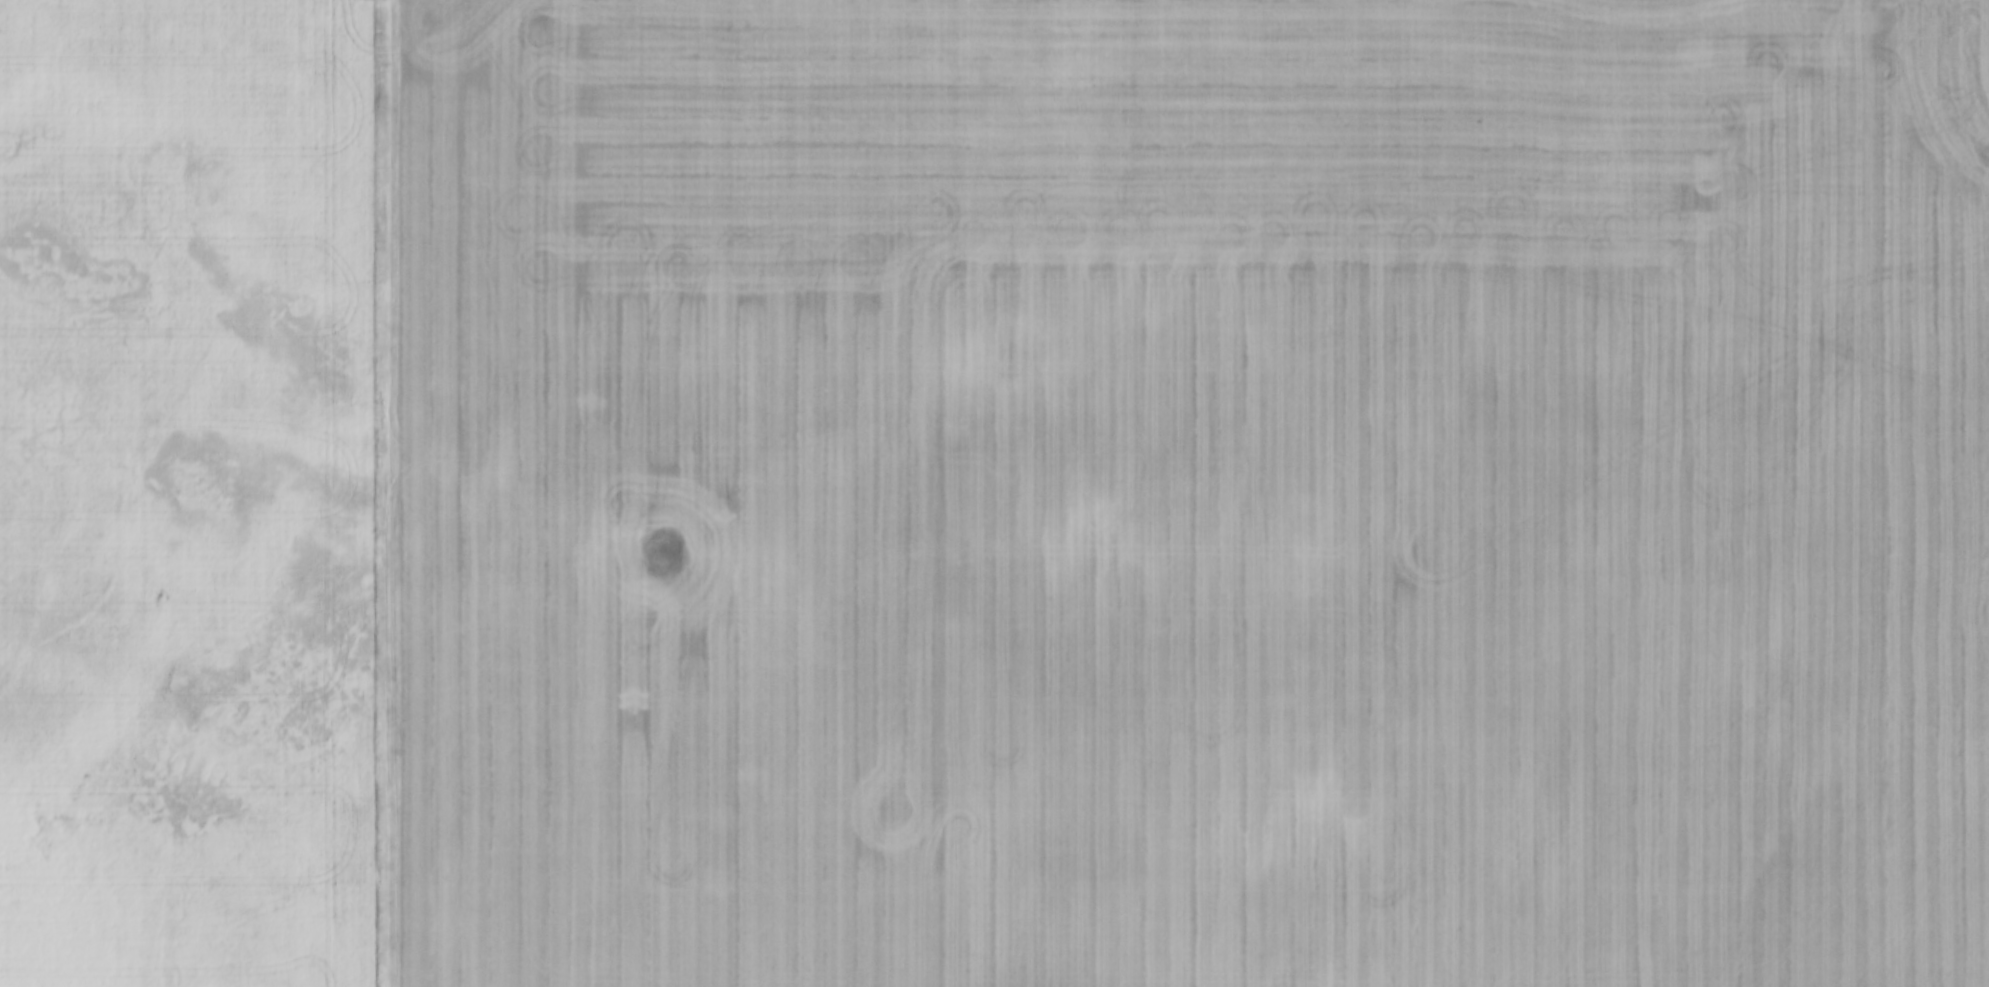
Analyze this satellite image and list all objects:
road: (399, 493)

